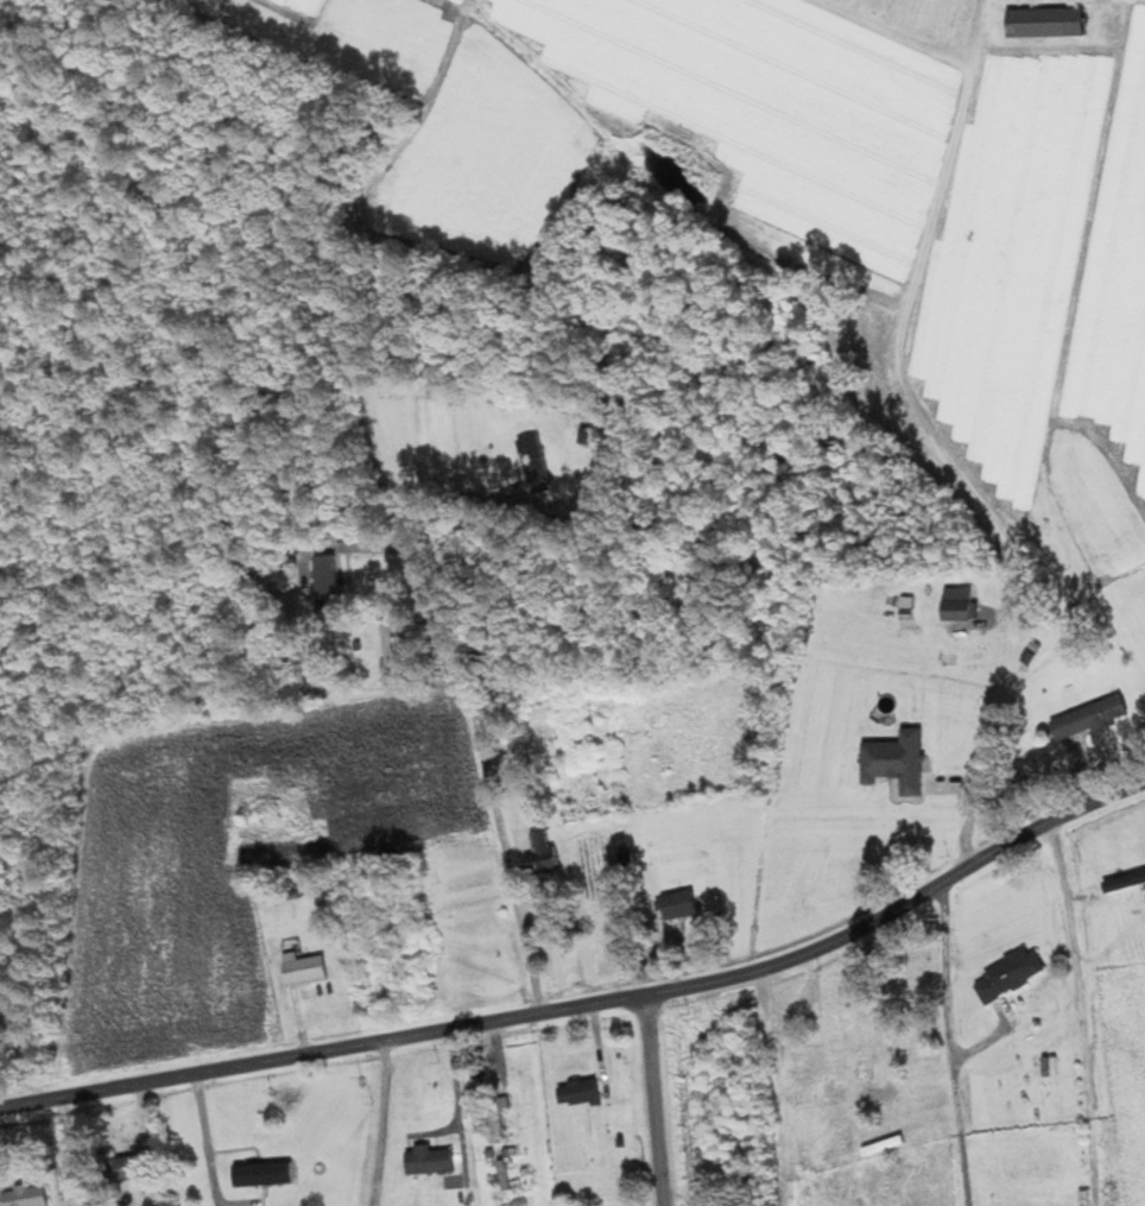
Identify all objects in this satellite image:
road: (936, 443)
building: (534, 463)
building: (337, 582)
building: (960, 608)
building: (391, 649)
building: (1090, 719)
building: (897, 760)
road: (489, 779)
building: (542, 852)
building: (679, 905)
building: (306, 968)
building: (1012, 974)
road: (592, 1005)
building: (835, 1010)
road: (1083, 1012)
road: (943, 1047)
building: (581, 1092)
road: (656, 1100)
road: (385, 1124)
building: (430, 1161)
building: (128, 1168)
building: (265, 1174)
building: (23, 1200)

